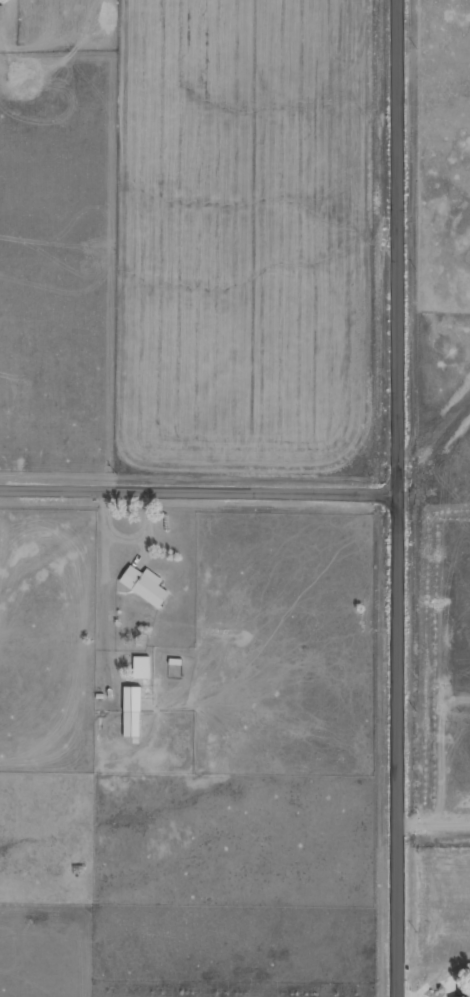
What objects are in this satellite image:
road: (200, 490)
road: (401, 498)
building: (147, 586)
building: (143, 667)
building: (133, 712)
building: (457, 996)

